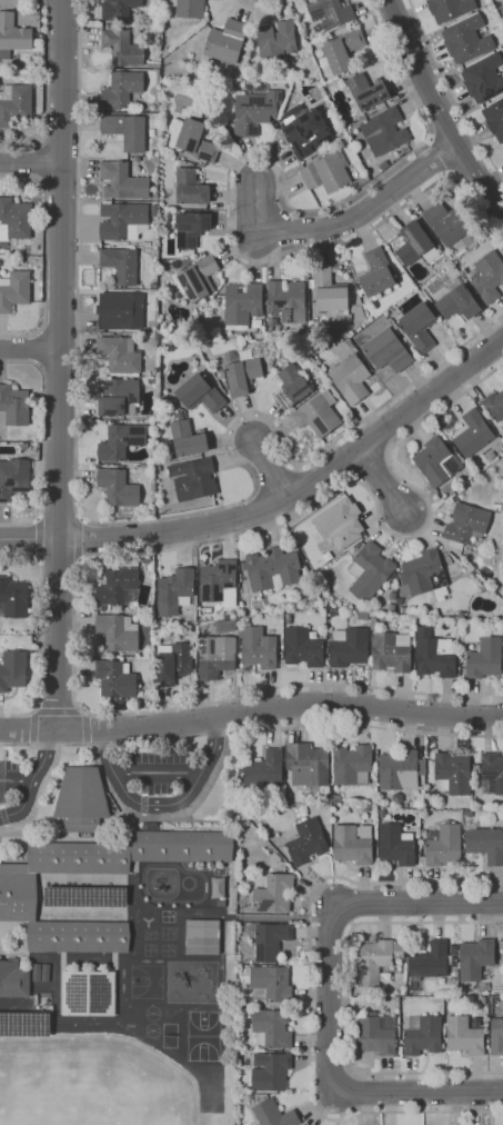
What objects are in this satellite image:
building: (502, 2)
road: (261, 7)
building: (189, 8)
building: (119, 9)
building: (450, 9)
building: (330, 12)
building: (316, 29)
building: (13, 33)
building: (466, 39)
building: (227, 41)
building: (276, 42)
building: (122, 48)
building: (343, 50)
building: (4, 56)
building: (483, 79)
building: (122, 89)
road: (451, 90)
building: (366, 91)
road: (46, 93)
building: (14, 103)
building: (255, 108)
road: (439, 109)
building: (495, 119)
building: (127, 131)
building: (305, 131)
building: (384, 131)
building: (193, 138)
road: (31, 162)
building: (383, 166)
road: (230, 172)
building: (326, 172)
building: (122, 181)
building: (190, 187)
building: (14, 219)
building: (121, 219)
road: (343, 221)
building: (449, 222)
building: (191, 229)
building: (469, 240)
building: (415, 245)
road: (46, 255)
building: (121, 265)
building: (335, 269)
building: (378, 273)
building: (487, 277)
building: (195, 278)
building: (14, 290)
building: (328, 290)
building: (288, 301)
building: (457, 301)
building: (242, 305)
building: (120, 311)
building: (359, 313)
building: (392, 313)
building: (273, 322)
building: (419, 327)
road: (30, 349)
building: (386, 351)
building: (120, 355)
road: (59, 365)
building: (241, 372)
building: (220, 374)
building: (351, 379)
building: (321, 380)
building: (292, 386)
building: (201, 392)
building: (119, 397)
building: (14, 406)
building: (494, 406)
building: (318, 415)
building: (473, 434)
building: (188, 438)
road: (43, 441)
building: (121, 441)
building: (23, 446)
building: (491, 455)
building: (436, 461)
building: (158, 468)
road: (271, 469)
building: (13, 478)
building: (193, 479)
road: (382, 480)
building: (118, 487)
road: (276, 504)
road: (127, 520)
building: (339, 524)
building: (465, 524)
road: (39, 538)
road: (107, 552)
building: (461, 557)
building: (272, 568)
building: (370, 571)
building: (424, 576)
building: (219, 583)
building: (493, 587)
building: (118, 588)
building: (174, 591)
building: (392, 596)
building: (13, 598)
building: (391, 608)
building: (402, 609)
building: (461, 615)
building: (363, 616)
building: (373, 621)
building: (224, 626)
building: (191, 628)
building: (118, 631)
road: (41, 633)
building: (349, 647)
building: (258, 648)
building: (302, 648)
building: (391, 651)
building: (434, 654)
building: (215, 656)
building: (484, 658)
building: (173, 663)
building: (12, 669)
building: (115, 678)
road: (251, 710)
road: (58, 711)
road: (32, 728)
road: (84, 728)
road: (251, 729)
building: (376, 753)
building: (308, 765)
building: (352, 765)
building: (264, 769)
road: (157, 770)
building: (400, 770)
building: (452, 774)
building: (492, 774)
road: (32, 778)
road: (16, 779)
road: (38, 796)
building: (328, 797)
building: (335, 798)
building: (398, 798)
building: (81, 799)
building: (418, 802)
road: (163, 804)
building: (381, 814)
building: (467, 814)
road: (164, 816)
flagpole: (19, 835)
building: (306, 842)
building: (442, 844)
building: (485, 844)
building: (352, 845)
building: (396, 845)
track: (163, 884)
building: (18, 887)
building: (219, 887)
building: (274, 894)
building: (85, 896)
building: (221, 903)
road: (331, 914)
road: (221, 915)
road: (332, 919)
road: (351, 923)
building: (201, 936)
building: (269, 940)
building: (475, 958)
building: (376, 960)
building: (429, 962)
building: (13, 979)
park: (155, 979)
building: (270, 985)
building: (480, 987)
building: (463, 989)
building: (88, 992)
road: (348, 997)
road: (310, 998)
building: (36, 1000)
building: (483, 1000)
building: (475, 1022)
building: (24, 1023)
building: (271, 1028)
building: (376, 1034)
park: (169, 1035)
building: (422, 1035)
park: (203, 1036)
building: (464, 1036)
building: (496, 1036)
building: (270, 1072)
road: (418, 1092)
building: (273, 1114)

